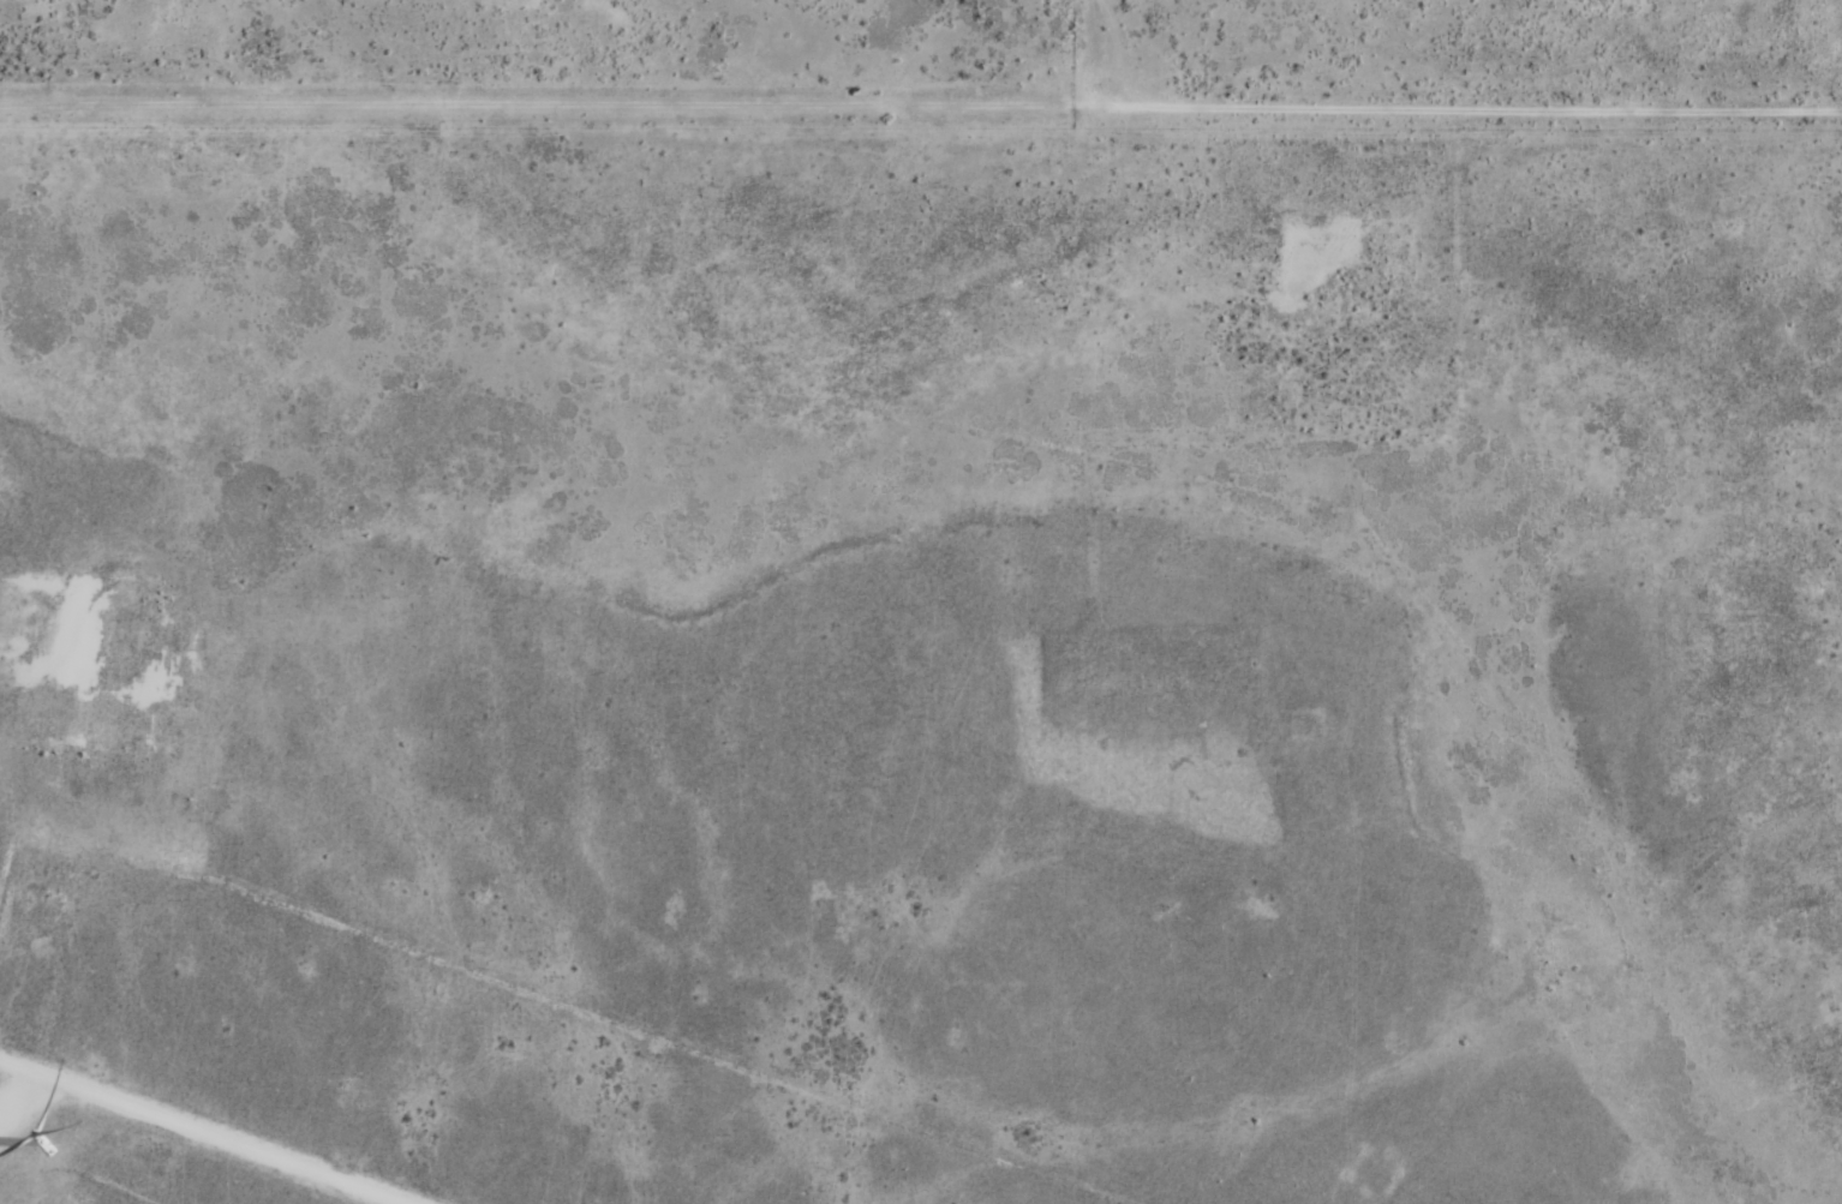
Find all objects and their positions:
road: (205, 1131)

